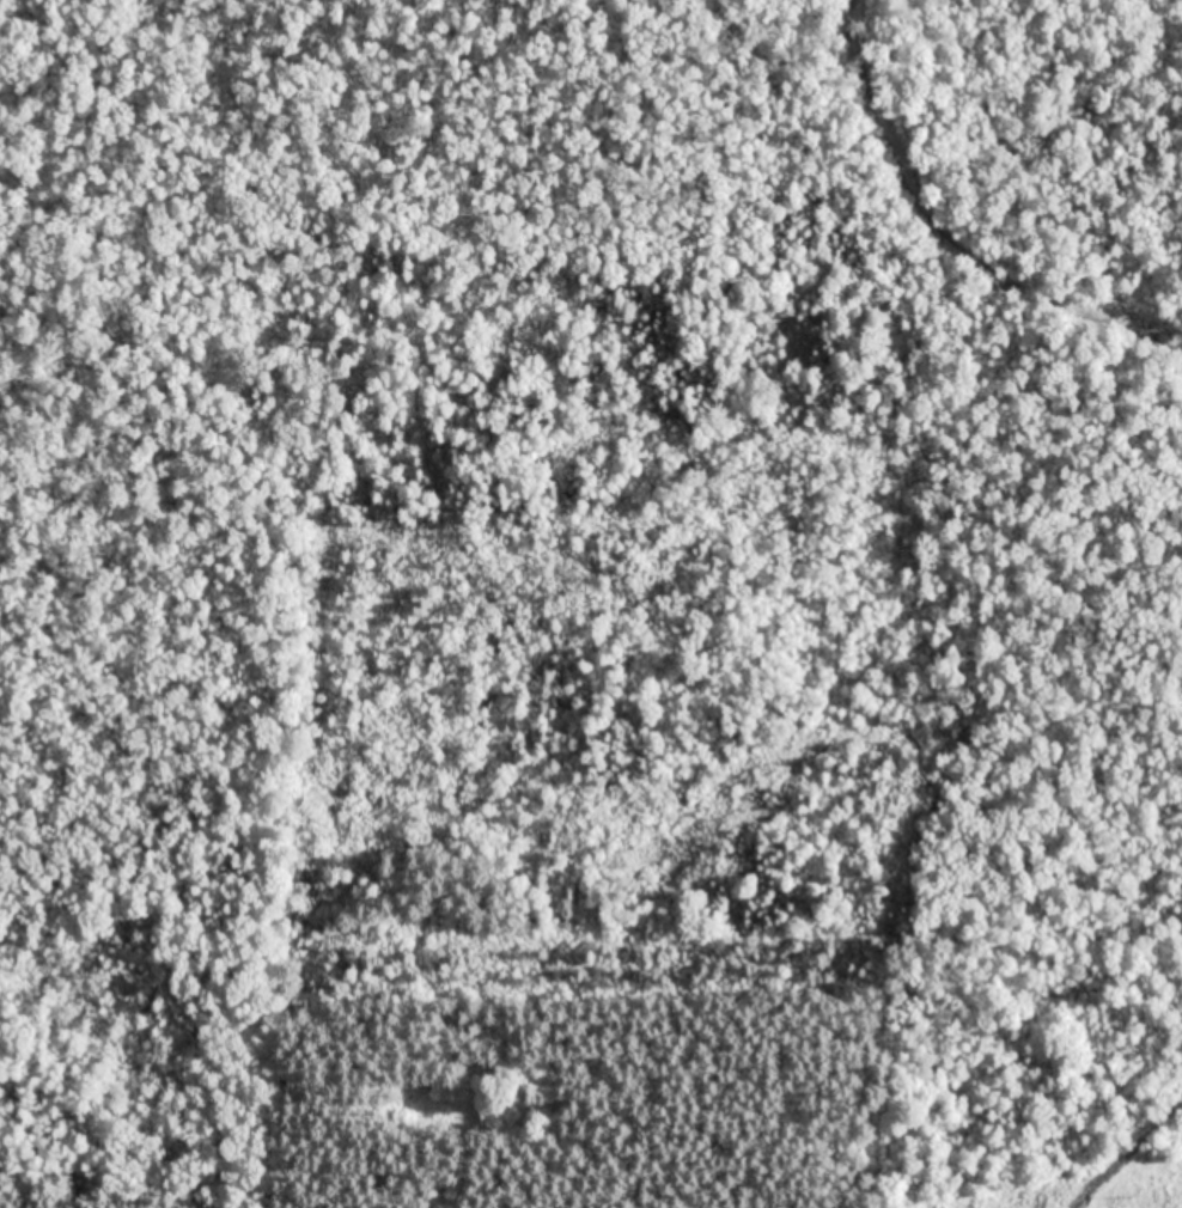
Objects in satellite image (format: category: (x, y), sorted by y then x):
power tower: (1144, 1198)

